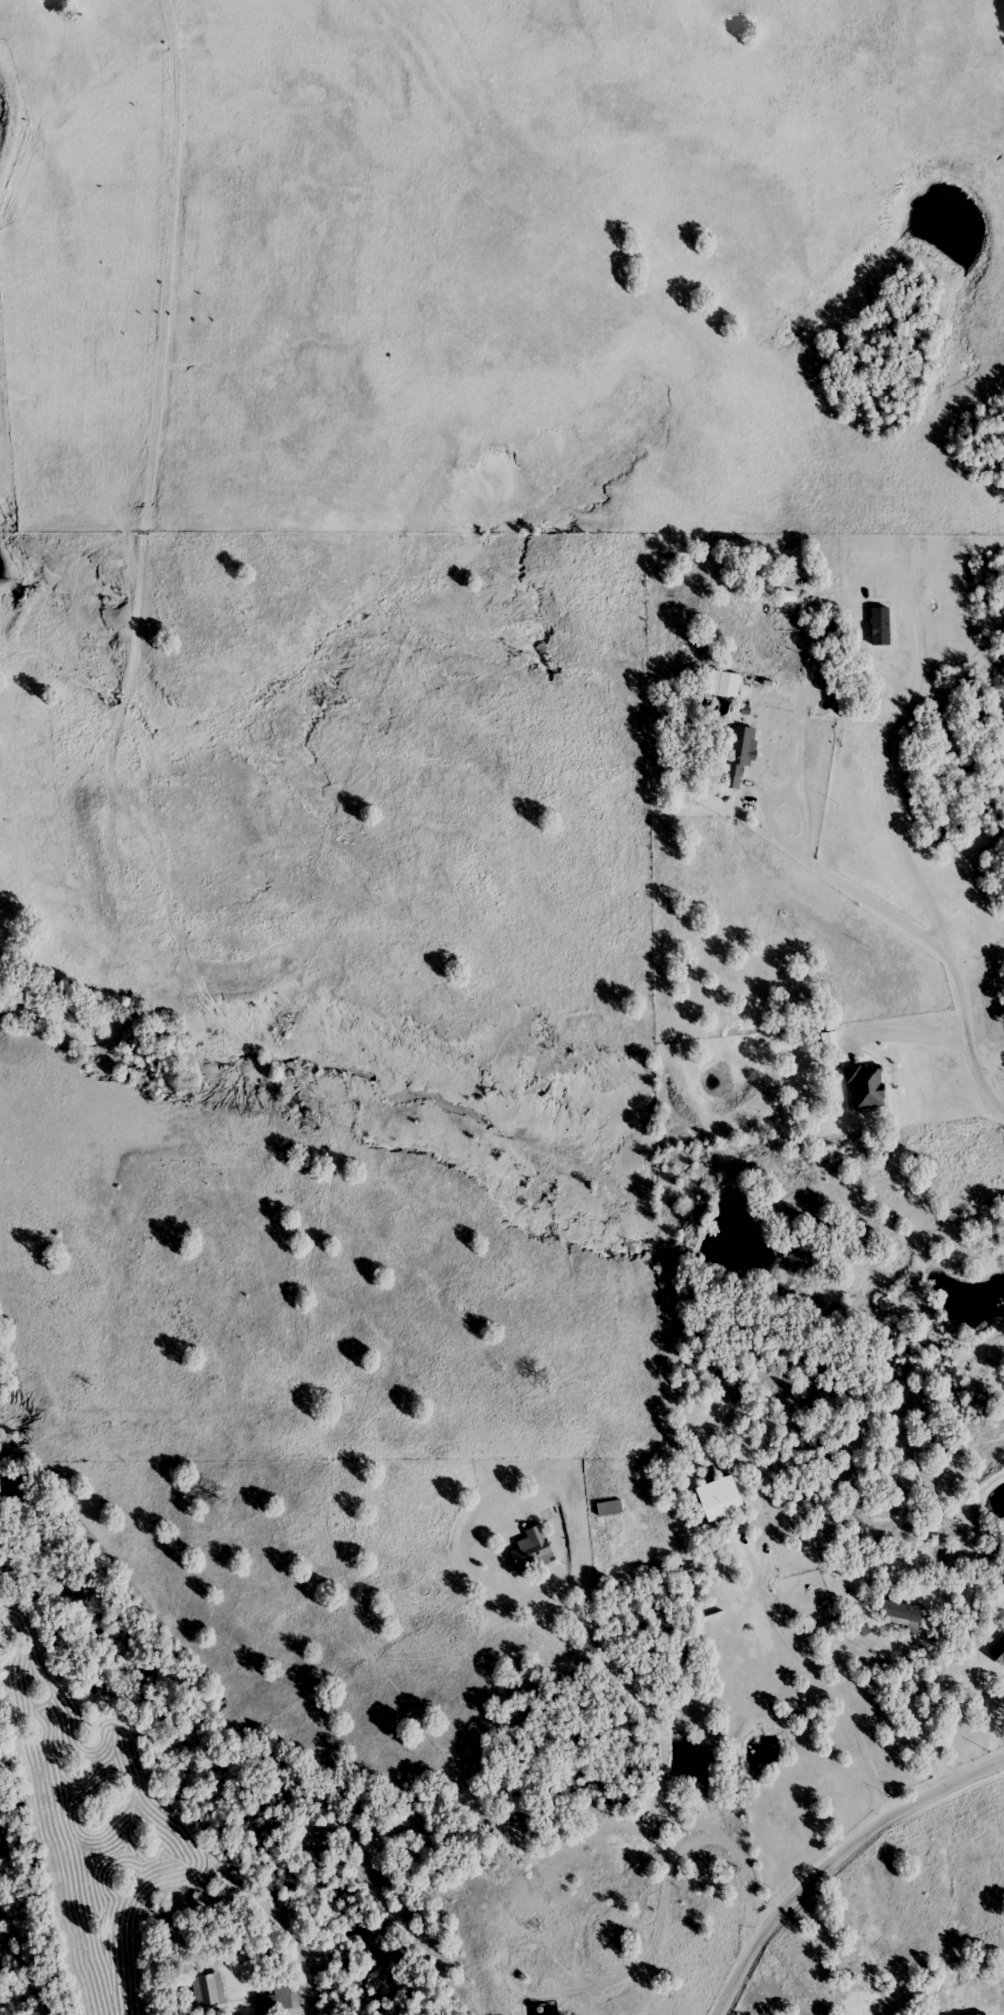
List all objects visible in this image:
road: (158, 368)
building: (724, 684)
building: (741, 752)
road: (799, 775)
road: (941, 951)
road: (981, 964)
road: (920, 1036)
building: (829, 1043)
road: (989, 1061)
building: (865, 1086)
building: (608, 1508)
building: (732, 1544)
building: (532, 1551)
road: (719, 1580)
building: (899, 1614)
road: (816, 1676)
road: (627, 1677)
road: (925, 1722)
road: (837, 1861)
building: (207, 1990)
building: (278, 2001)

